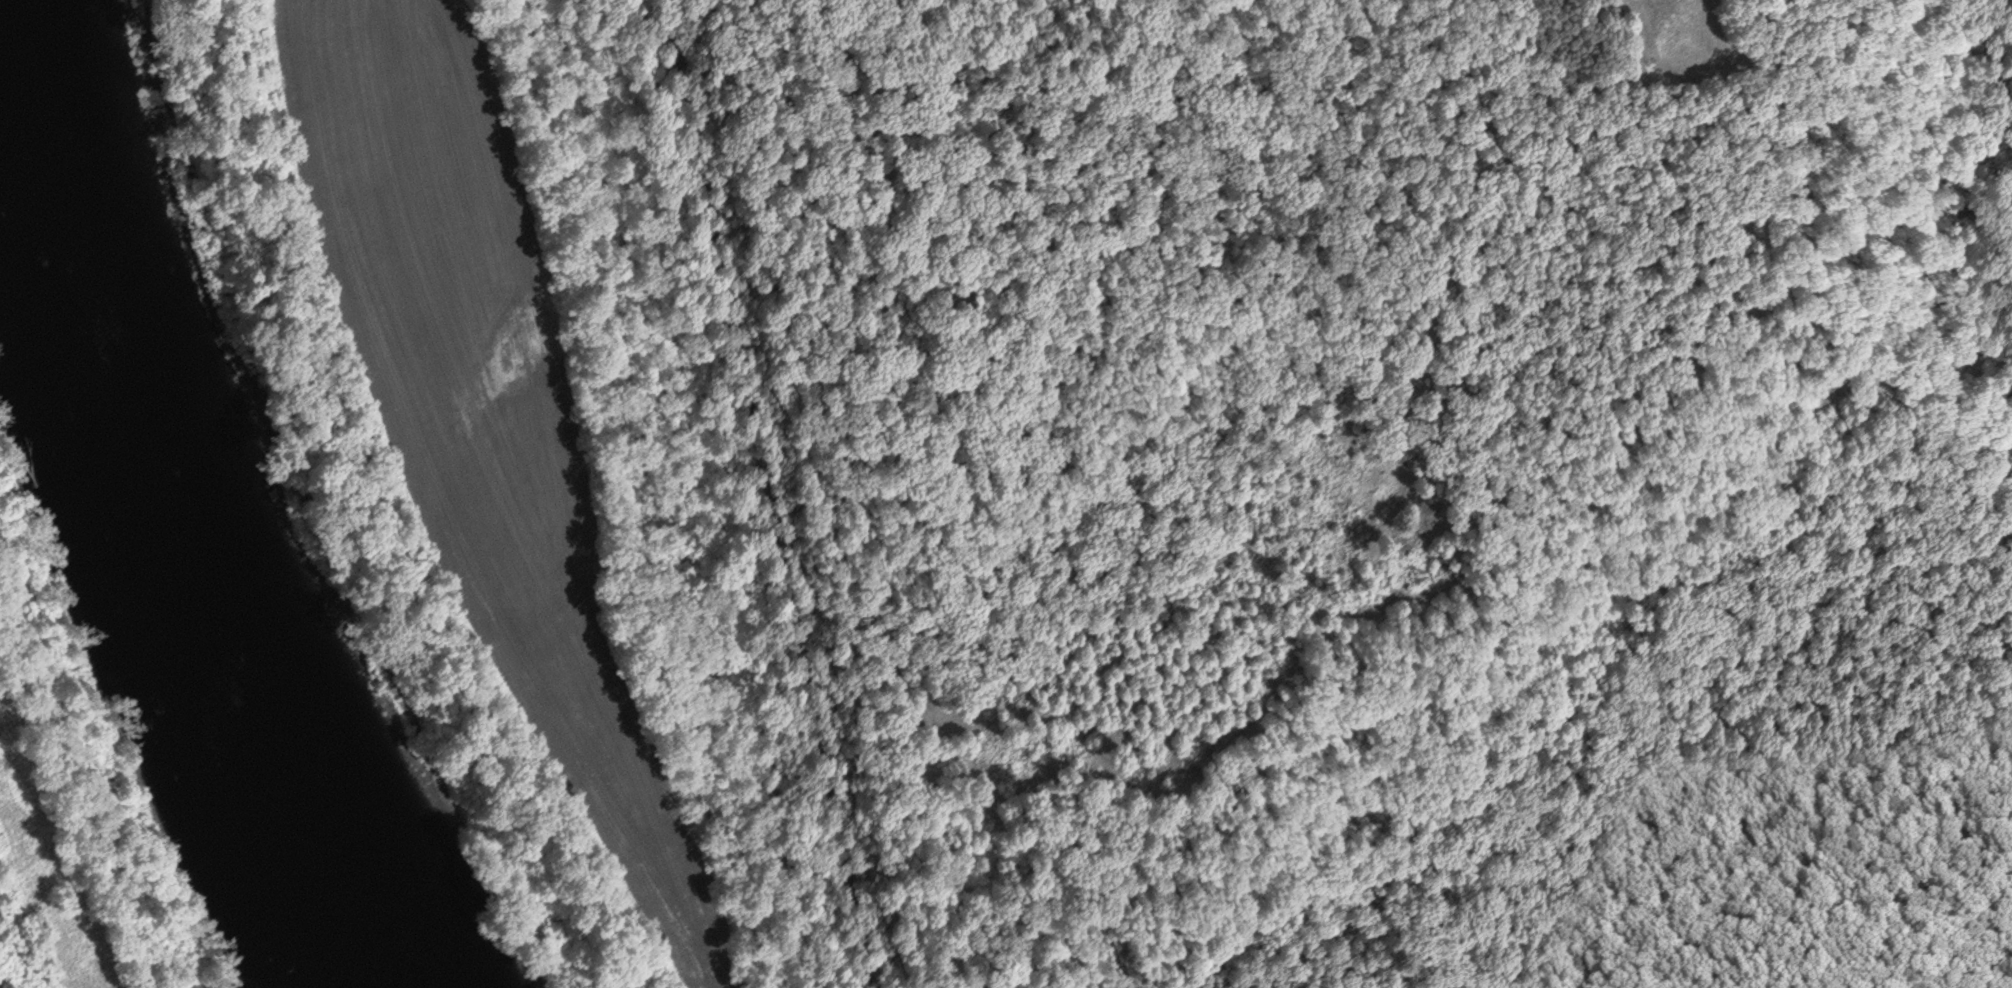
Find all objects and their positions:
road: (771, 494)
river: (197, 509)

